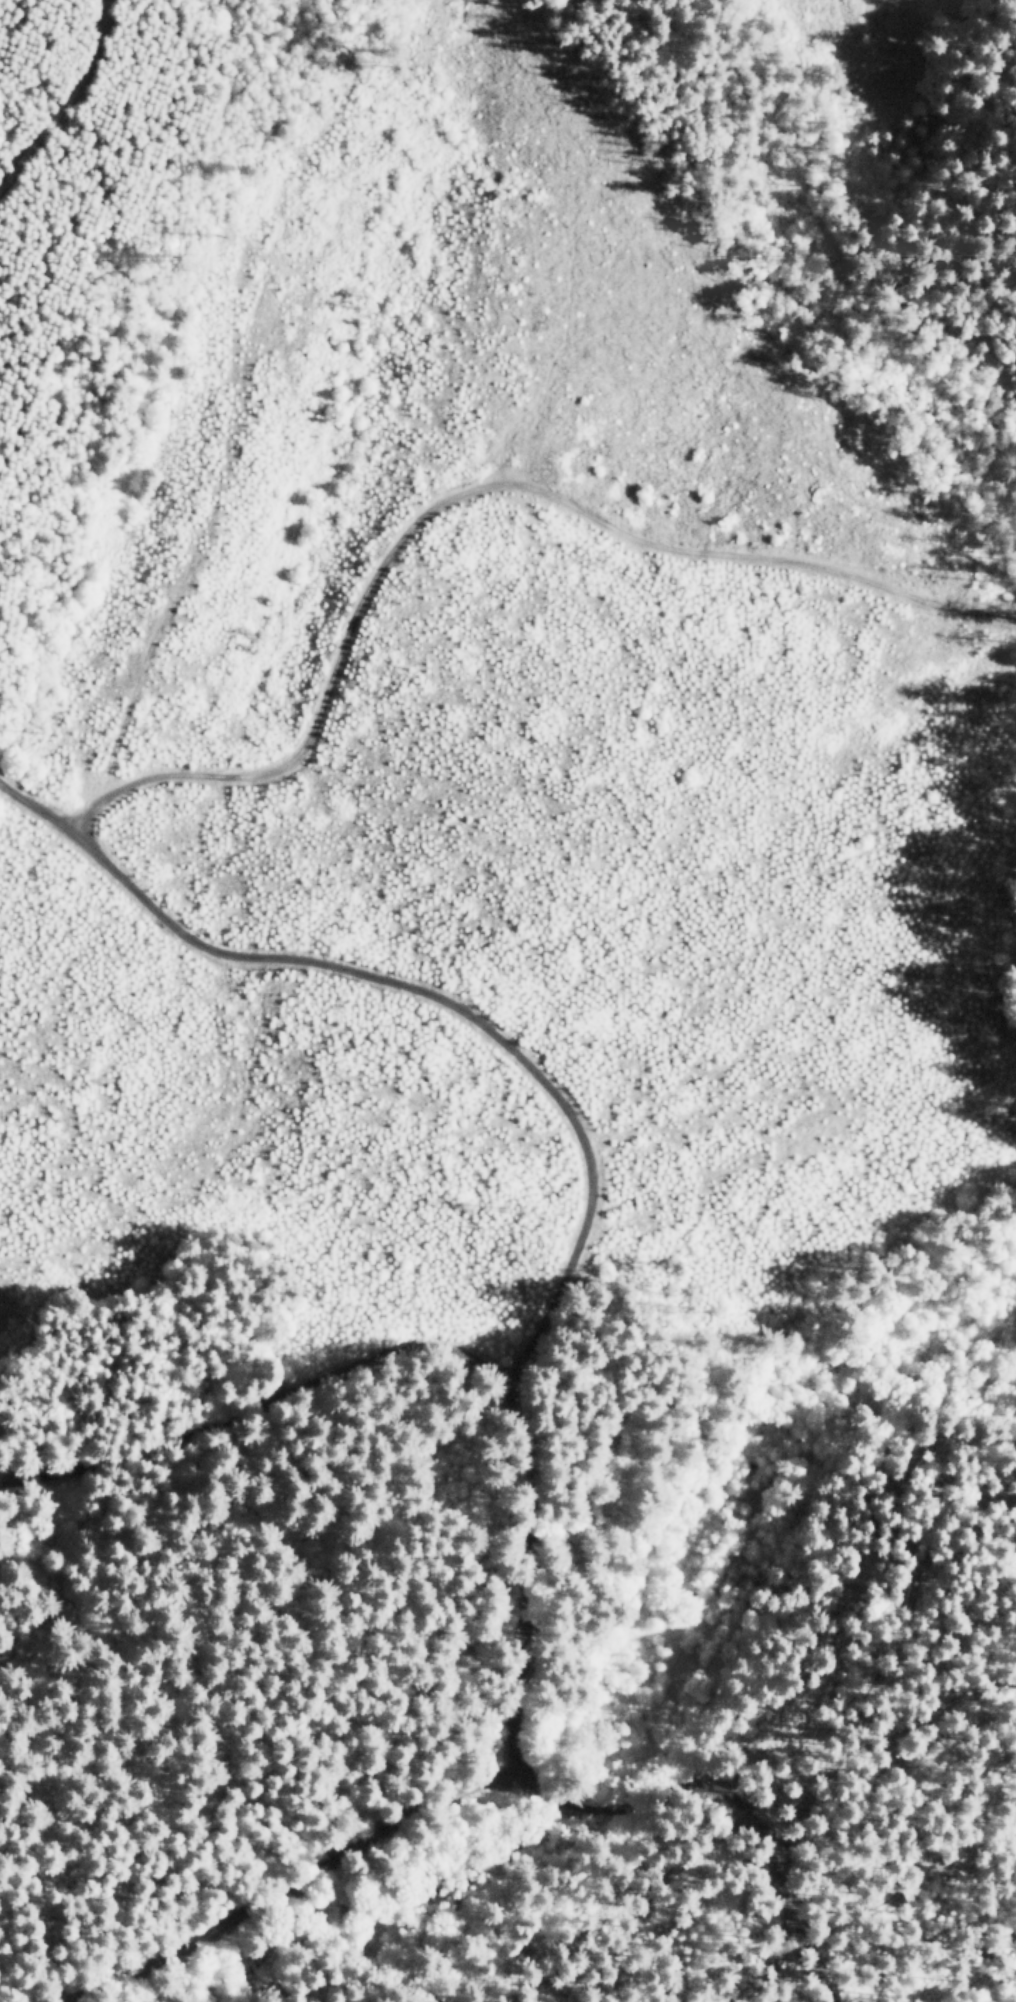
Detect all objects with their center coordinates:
road: (460, 493)
crop: (626, 581)
road: (404, 984)
road: (529, 1506)
road: (316, 1866)

